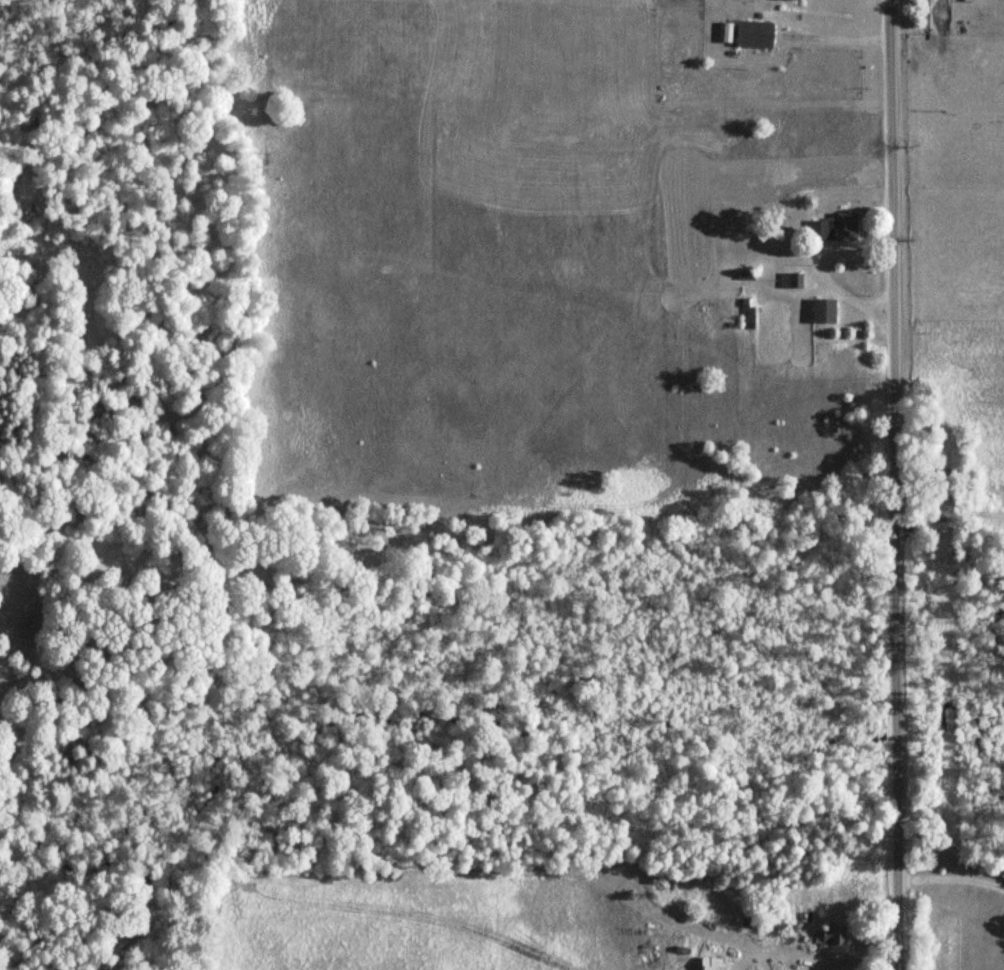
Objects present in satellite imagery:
building: (758, 33)
building: (836, 227)
building: (827, 311)
road: (892, 484)
road: (951, 876)
building: (836, 934)
building: (713, 963)

